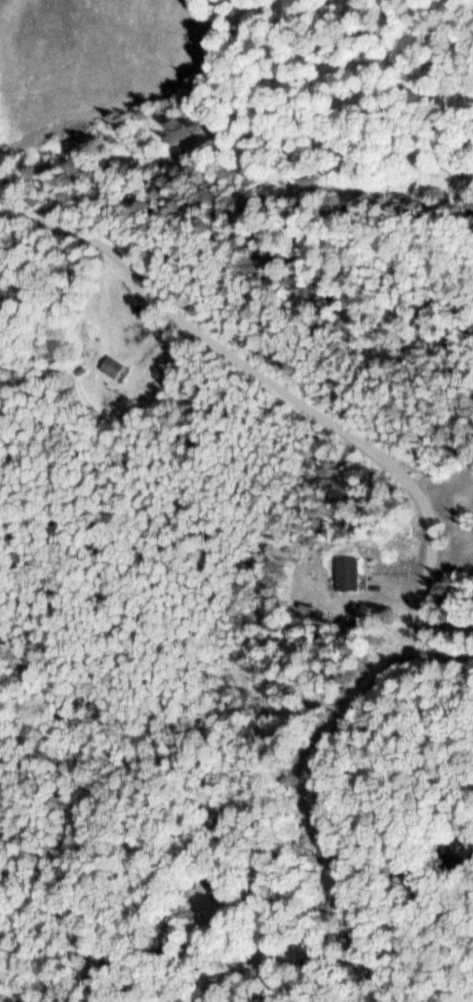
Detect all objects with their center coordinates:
building: (112, 368)
road: (426, 517)
building: (346, 574)
road: (402, 582)
road: (436, 655)

